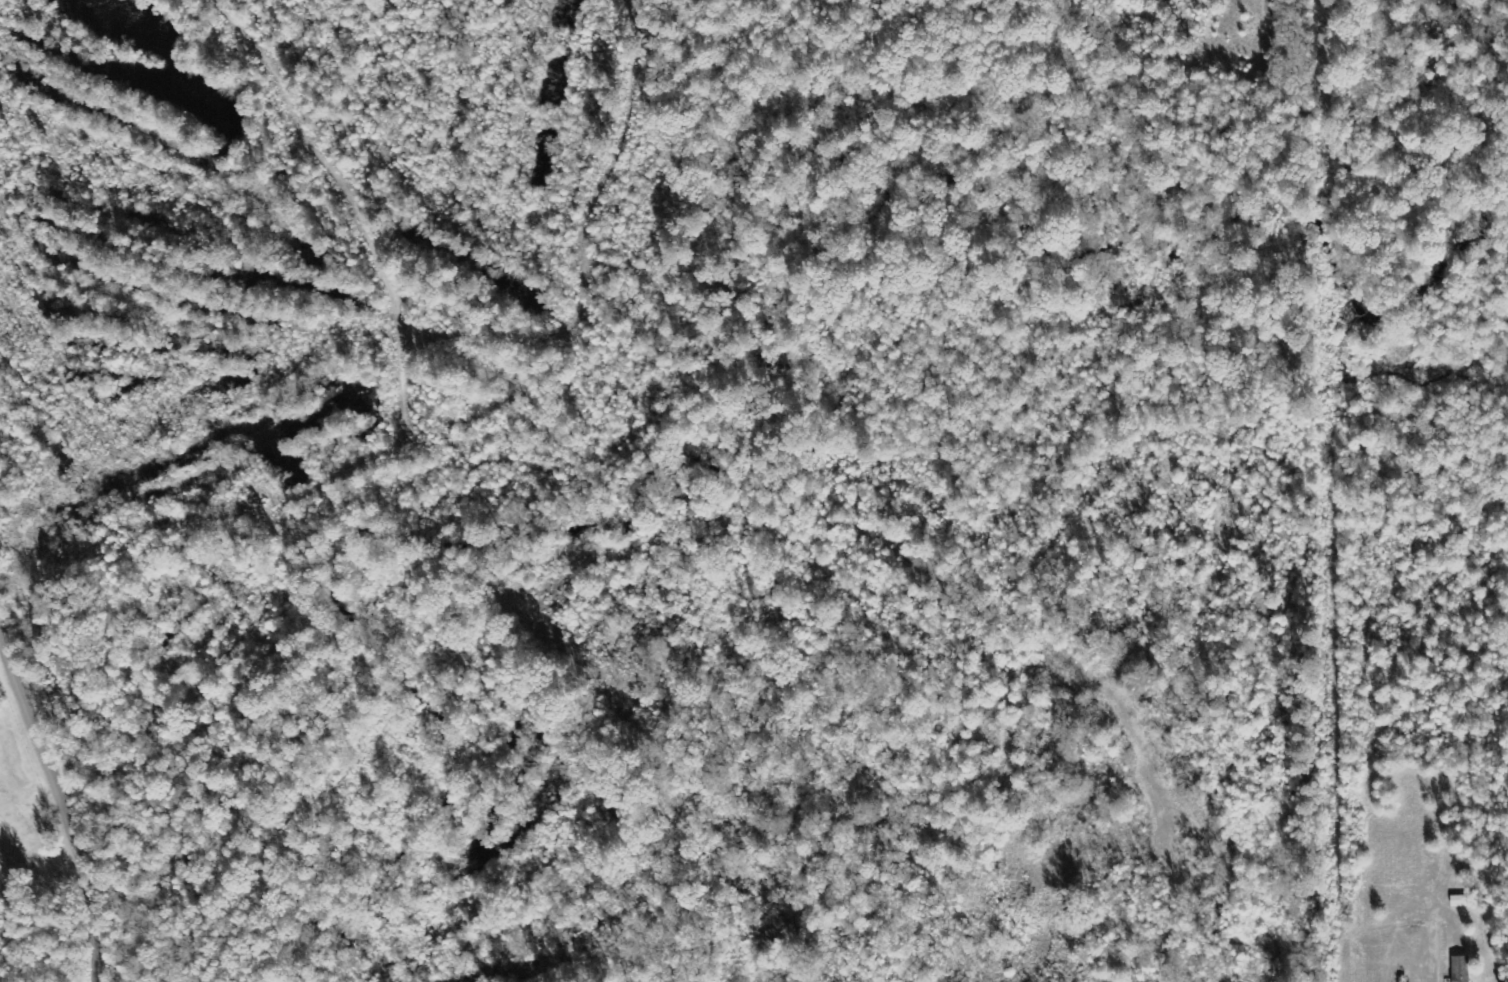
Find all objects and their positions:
road: (1337, 16)
road: (17, 715)
road: (68, 801)
building: (1458, 901)
building: (1460, 969)

